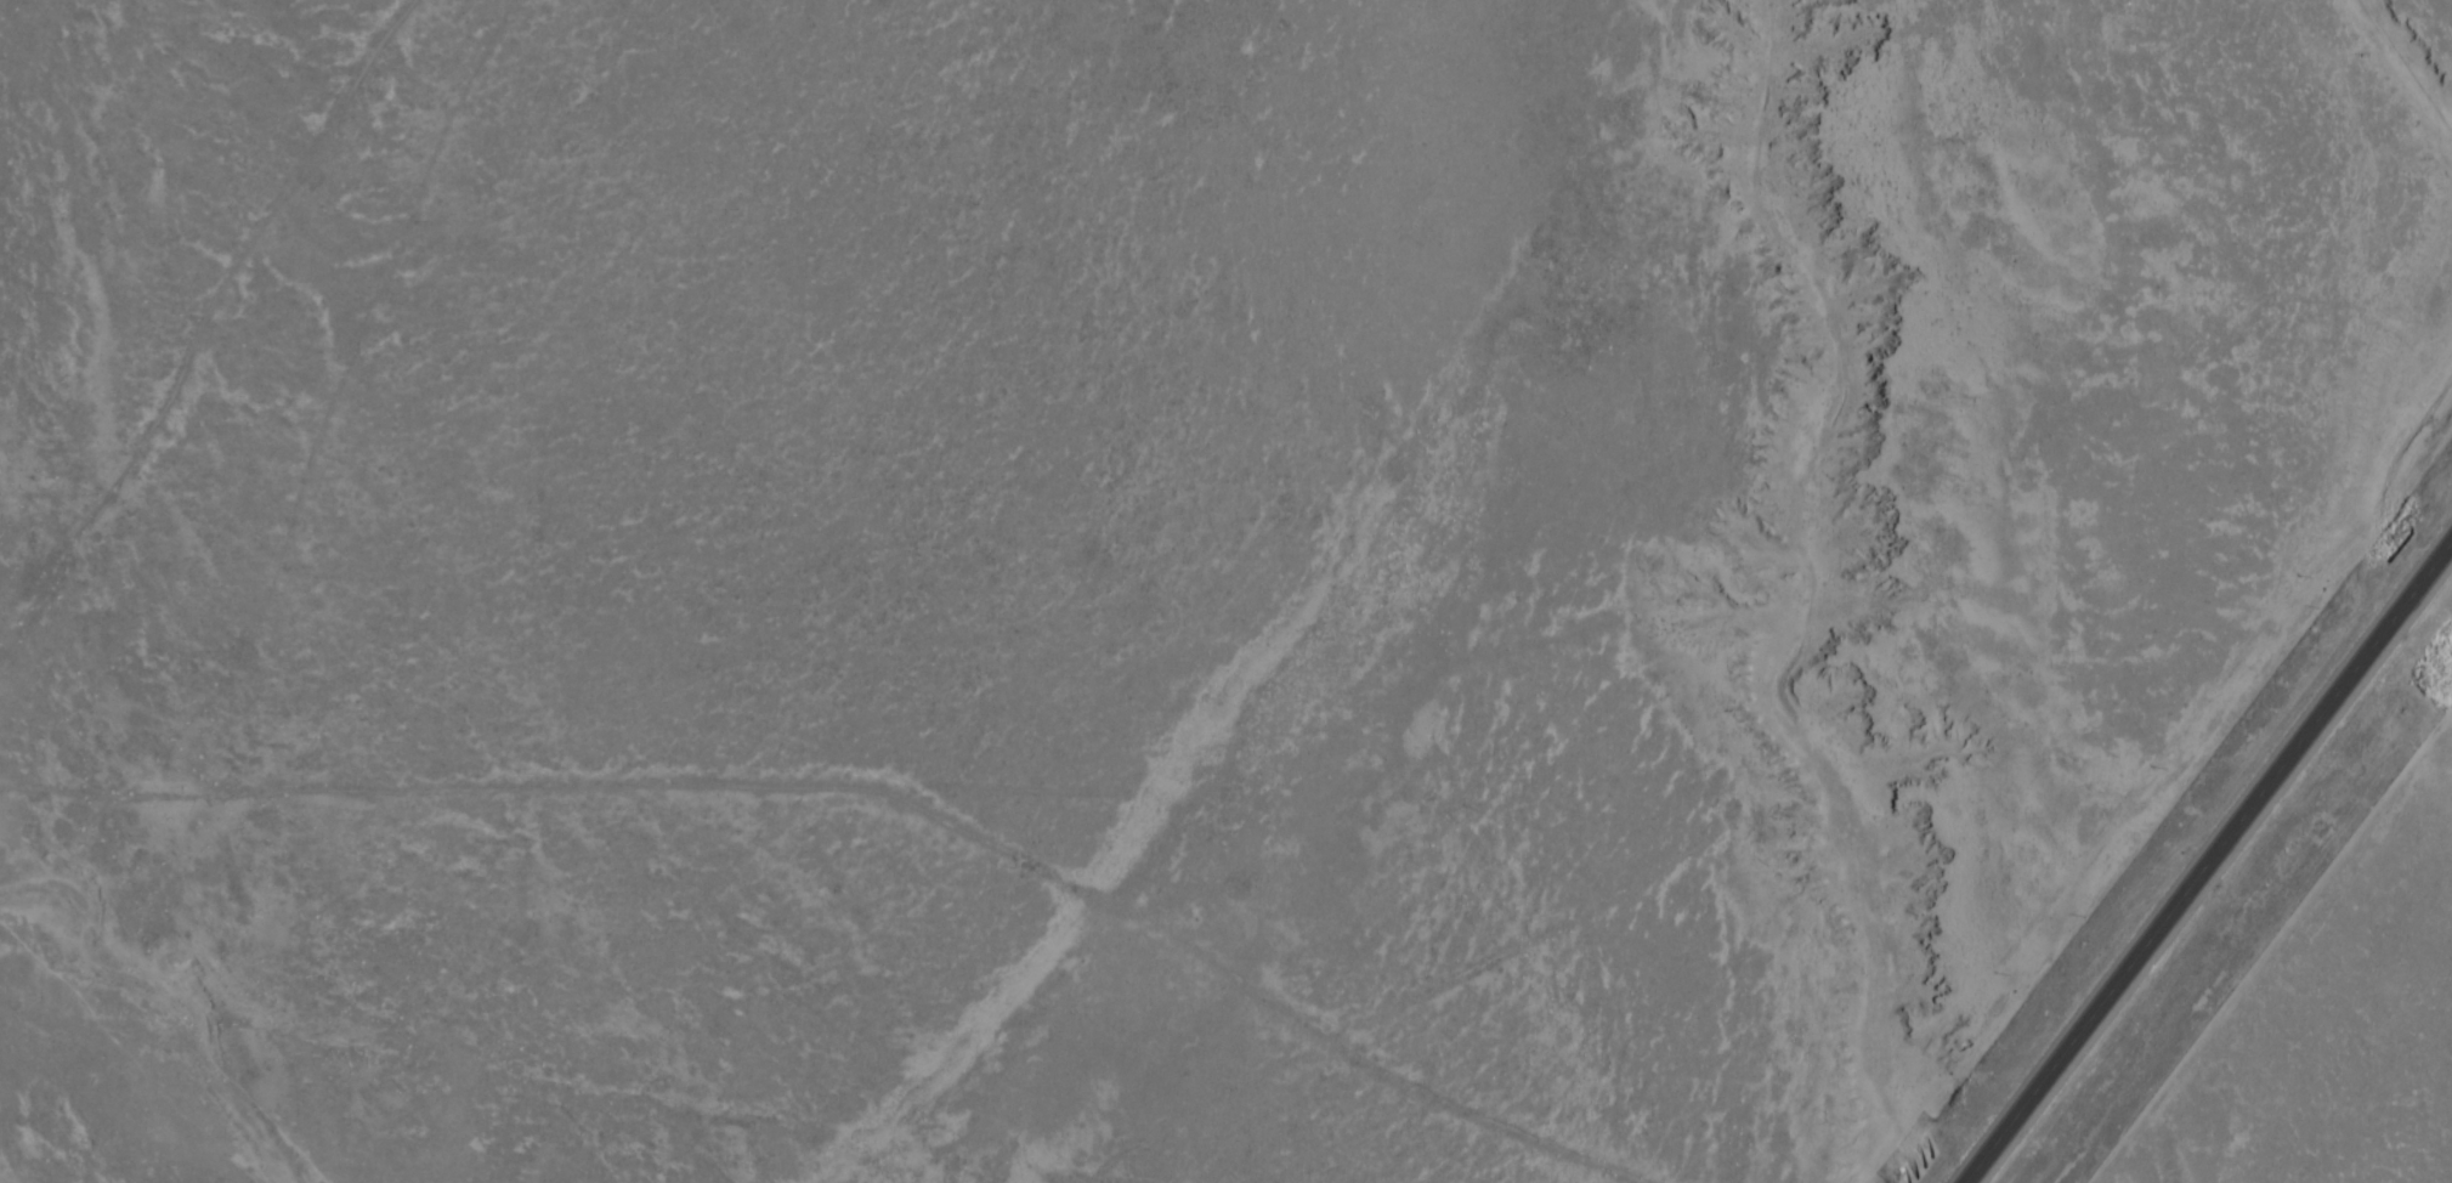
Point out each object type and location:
road: (1493, 591)
road: (2208, 862)

